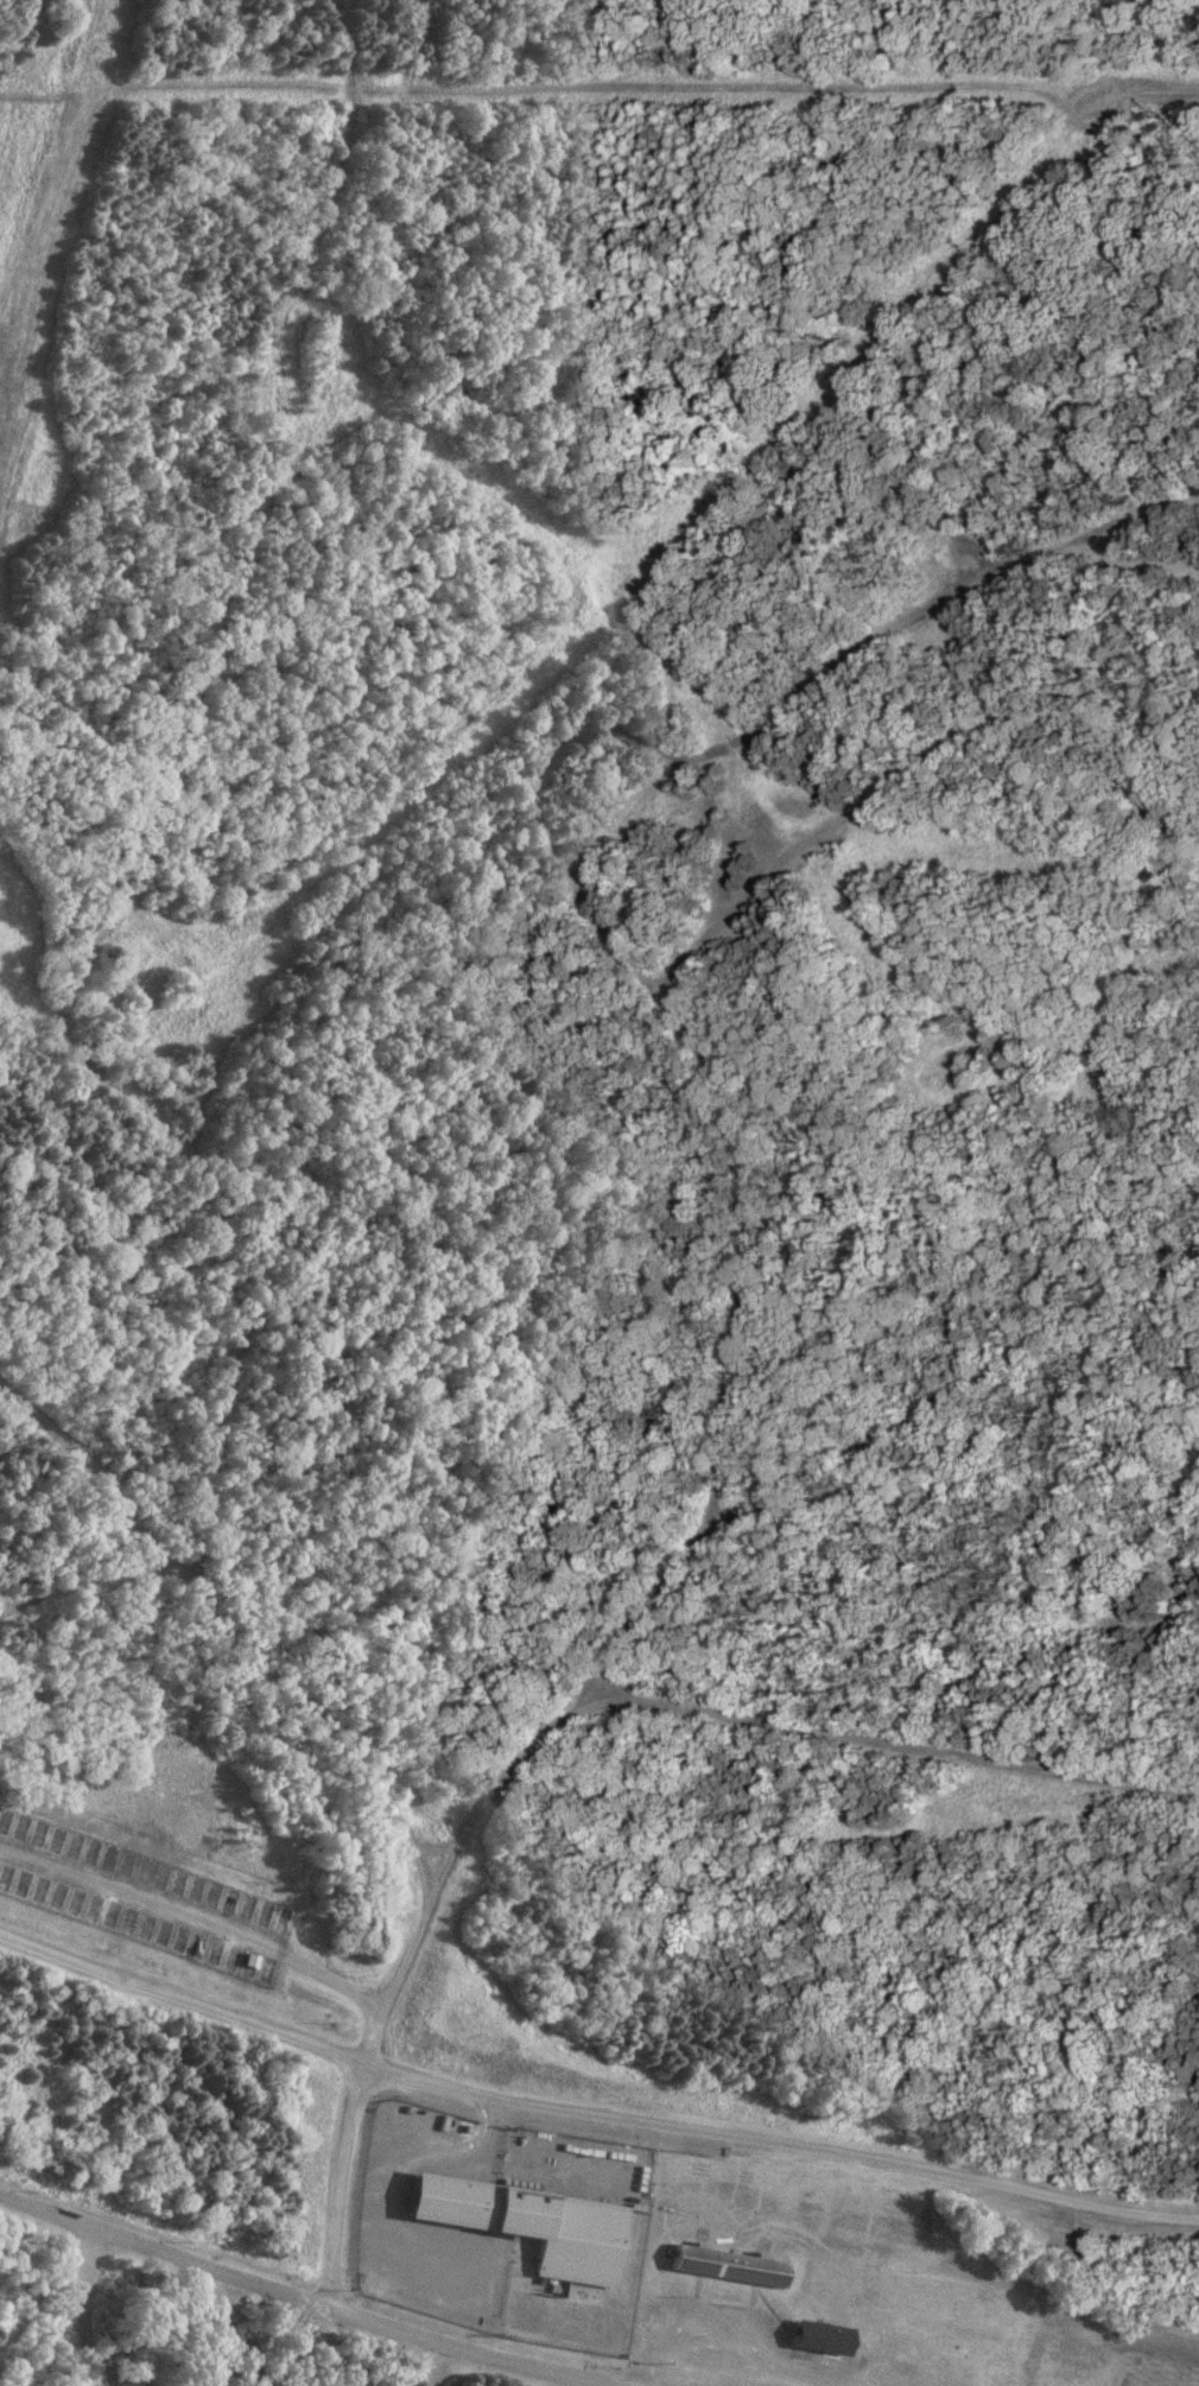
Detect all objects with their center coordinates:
road: (1135, 560)
road: (524, 801)
road: (1140, 810)
road: (622, 816)
road: (153, 820)
road: (837, 1455)
road: (80, 1579)
road: (636, 1620)
road: (229, 1638)
road: (560, 1718)
road: (433, 1847)
road: (196, 1917)
road: (591, 2105)
building: (531, 2225)
building: (729, 2264)
road: (312, 2303)
road: (81, 2305)
road: (228, 2324)
building: (818, 2336)
road: (722, 2347)
road: (608, 2384)

